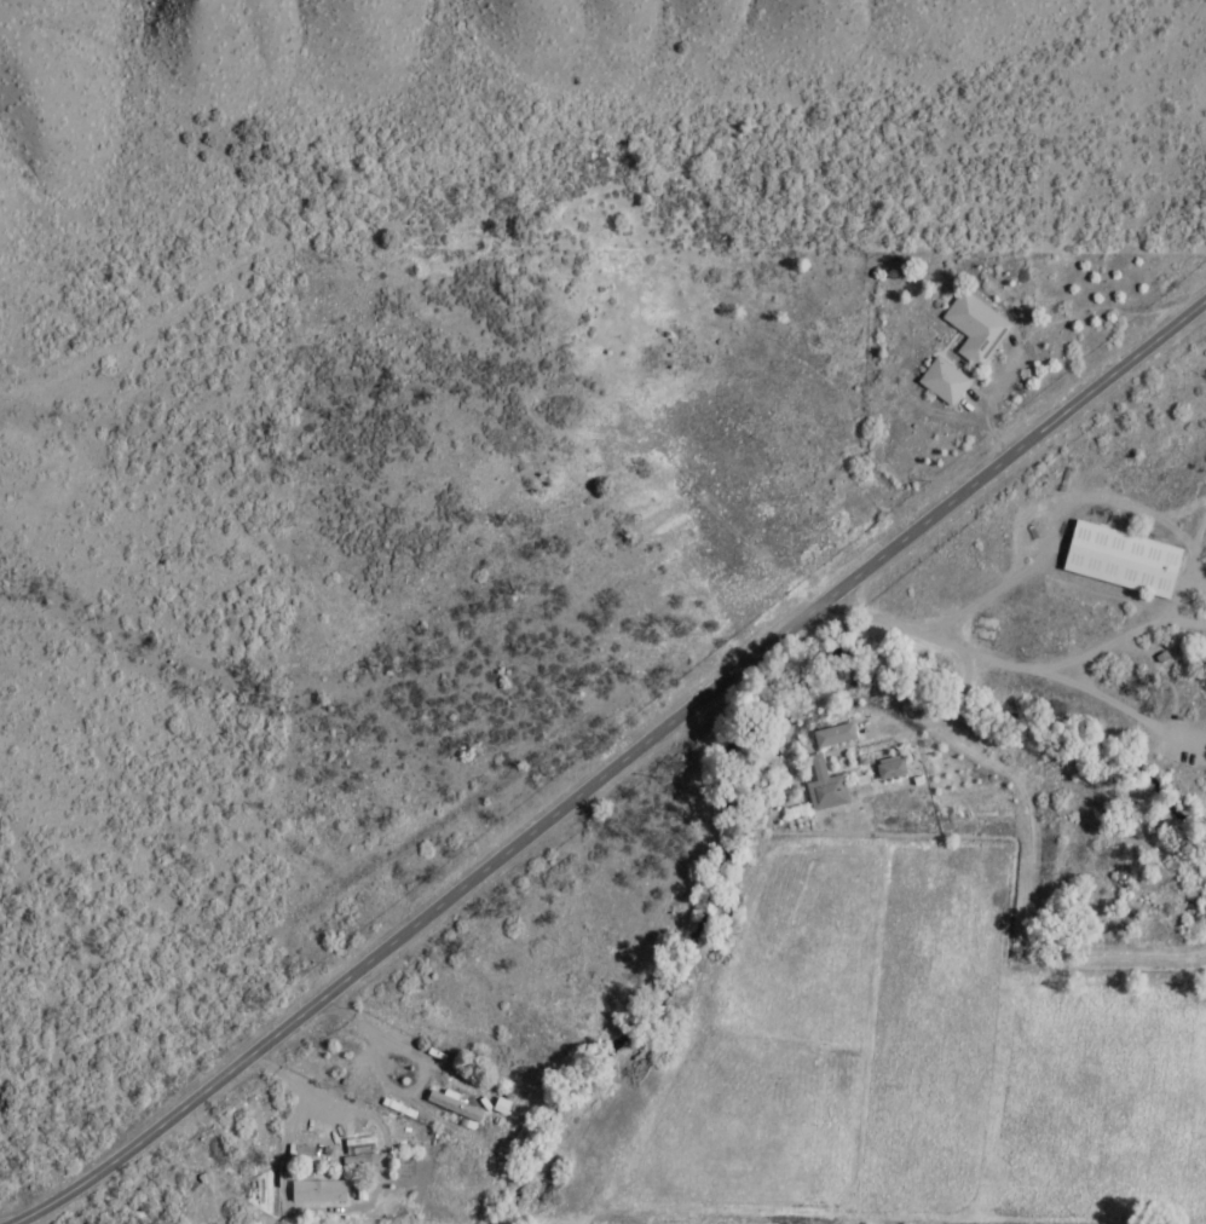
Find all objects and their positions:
building: (970, 330)
building: (939, 383)
building: (1118, 561)
building: (832, 737)
road: (613, 770)
building: (888, 770)
building: (824, 795)
building: (450, 1109)
building: (497, 1109)
building: (316, 1195)

